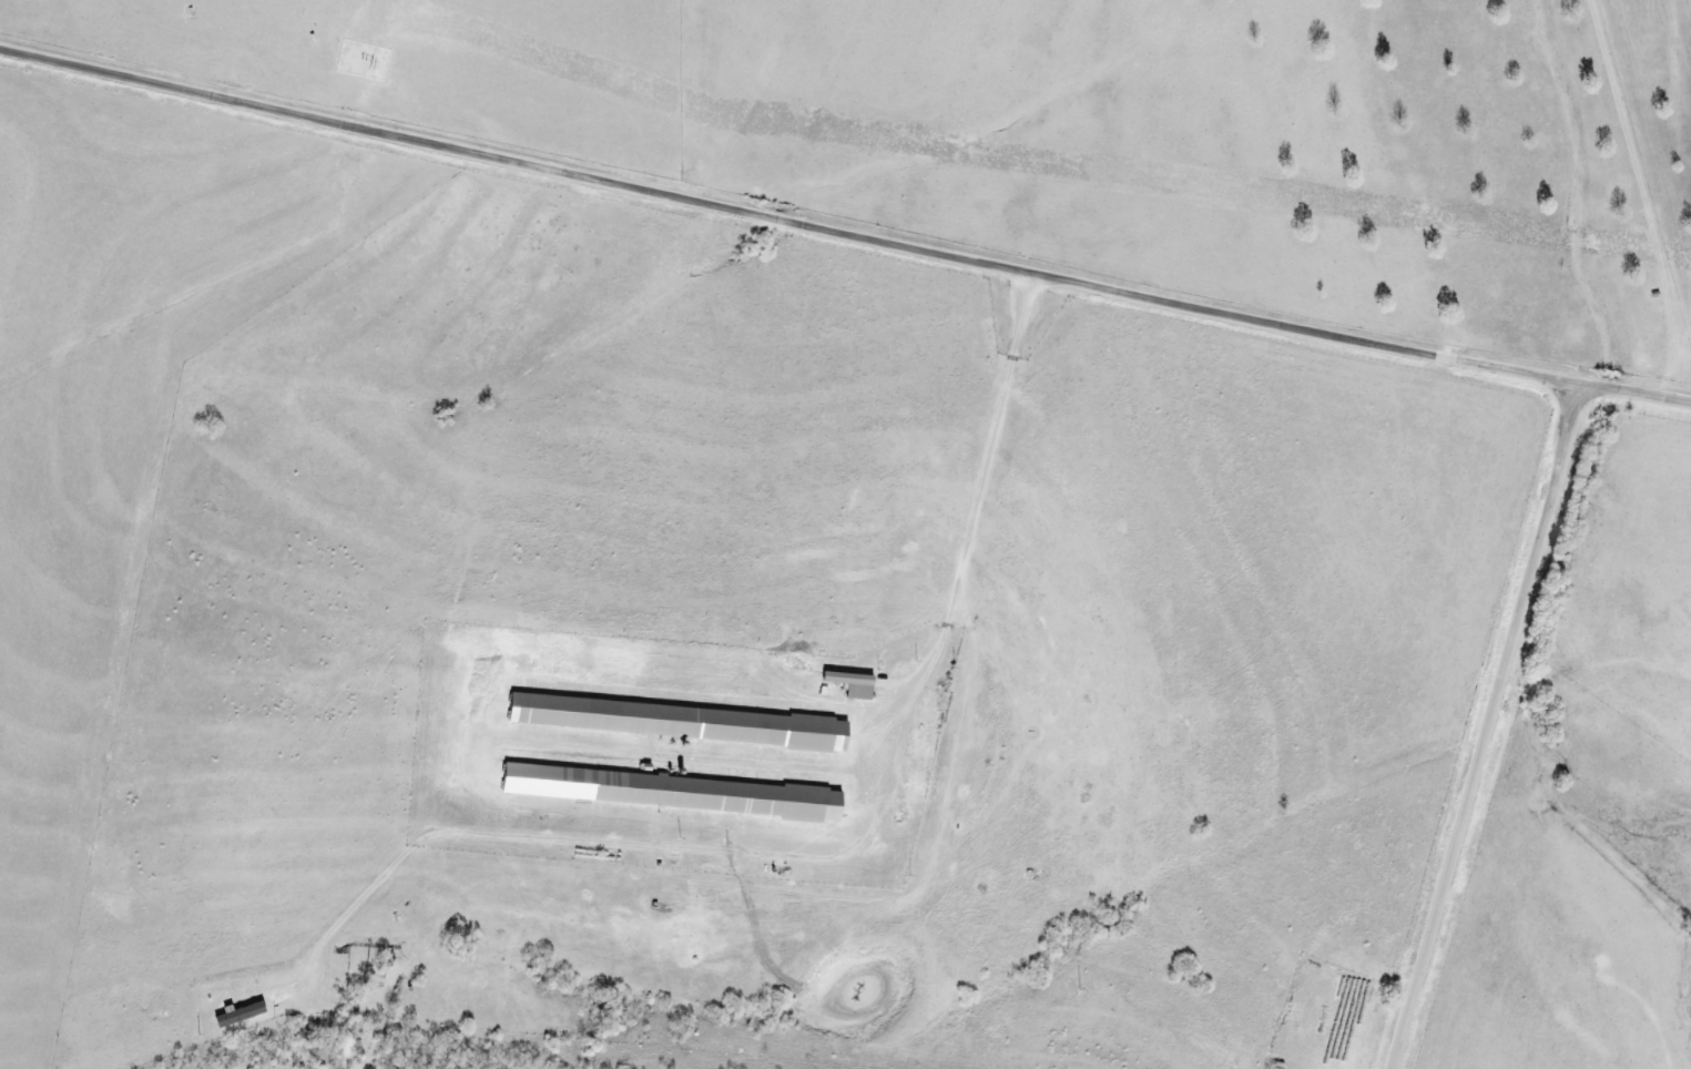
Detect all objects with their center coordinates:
road: (844, 228)
building: (847, 684)
building: (670, 721)
road: (1491, 724)
building: (664, 791)

